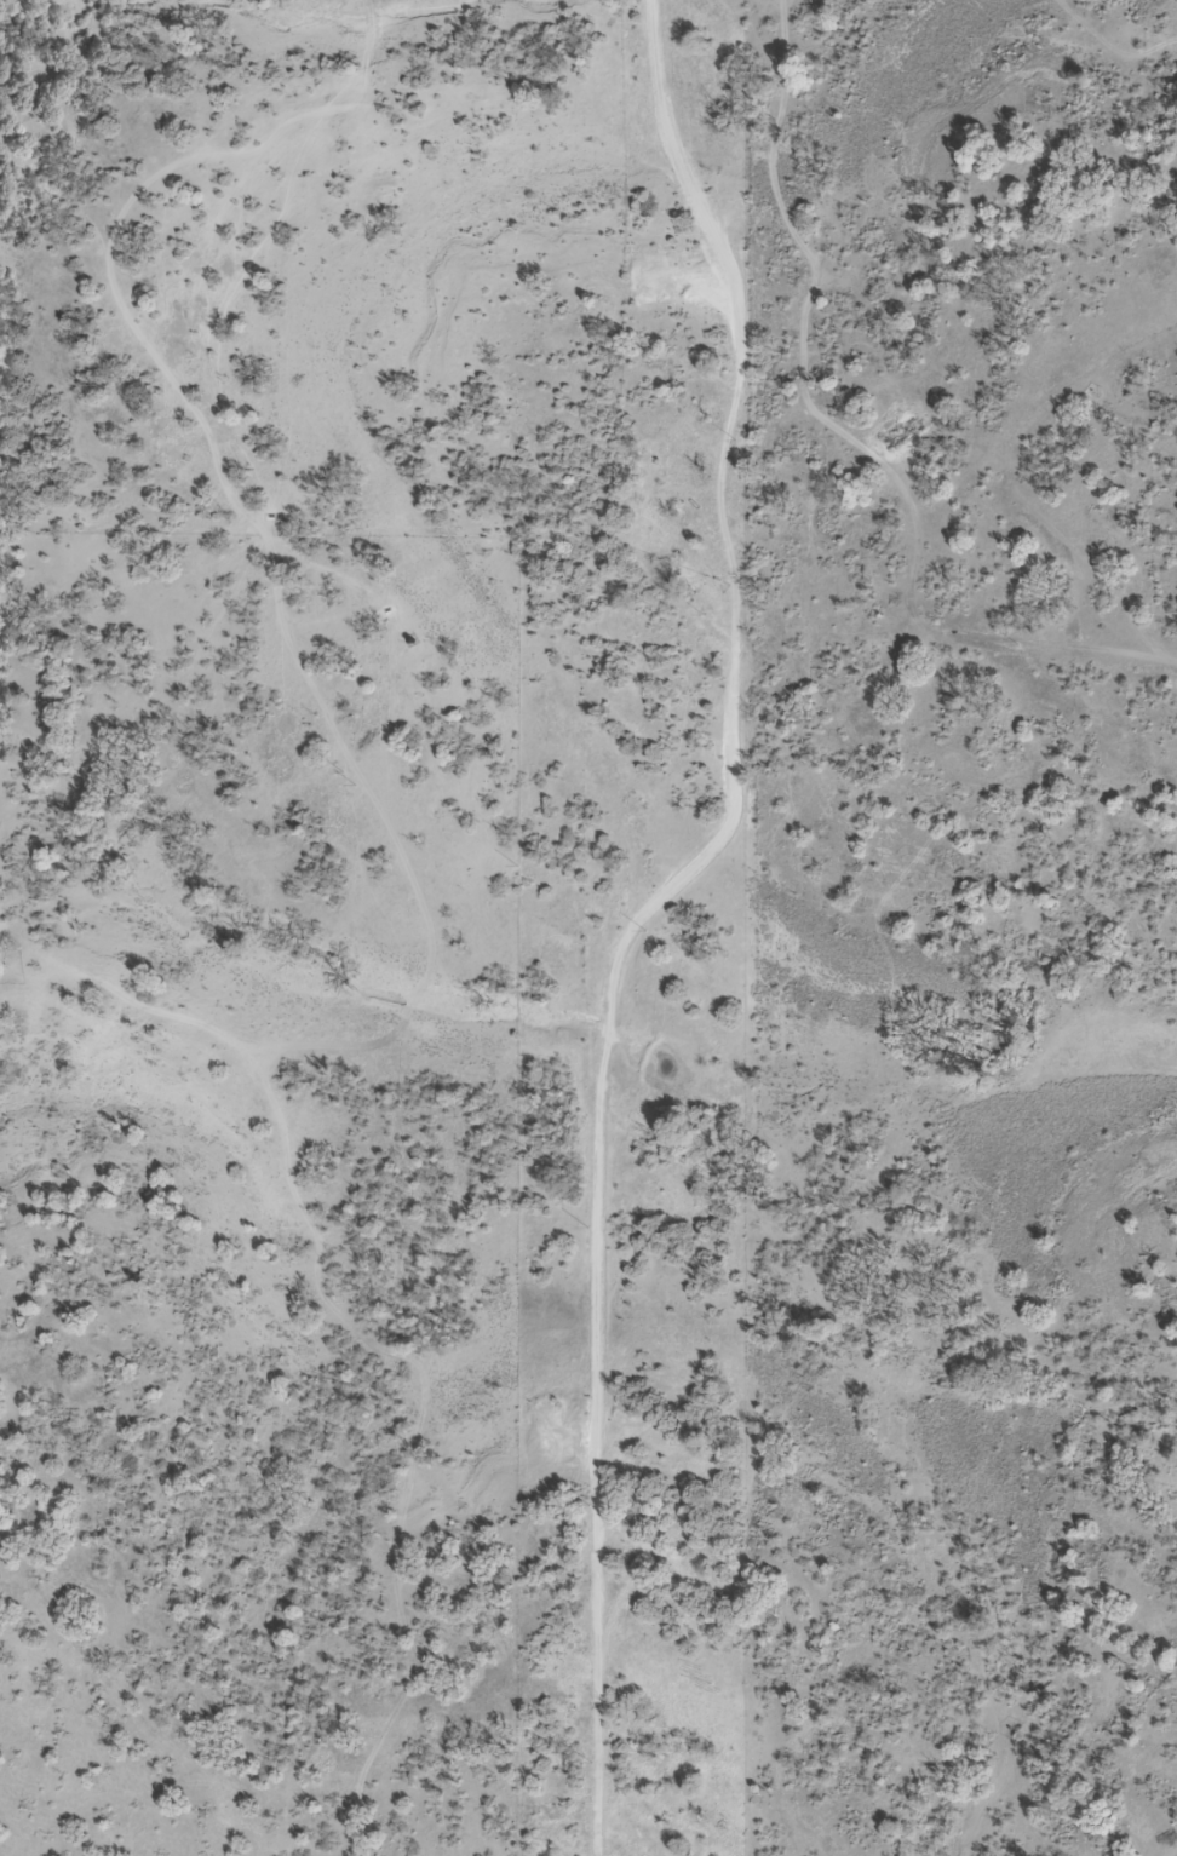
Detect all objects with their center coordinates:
road: (660, 907)

